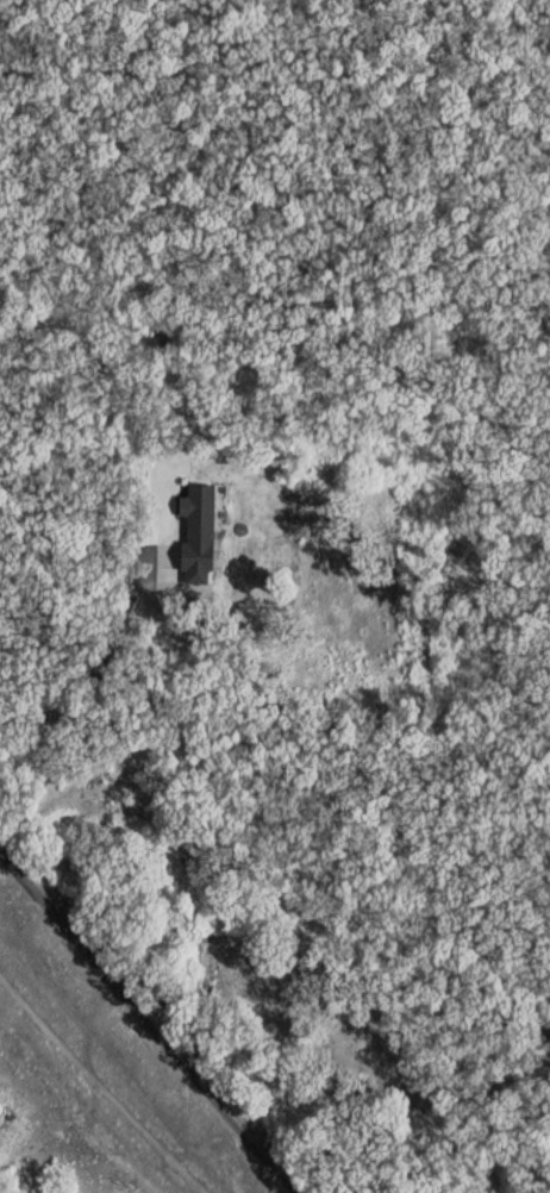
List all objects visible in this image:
building: (201, 533)
road: (86, 681)
road: (148, 1020)

